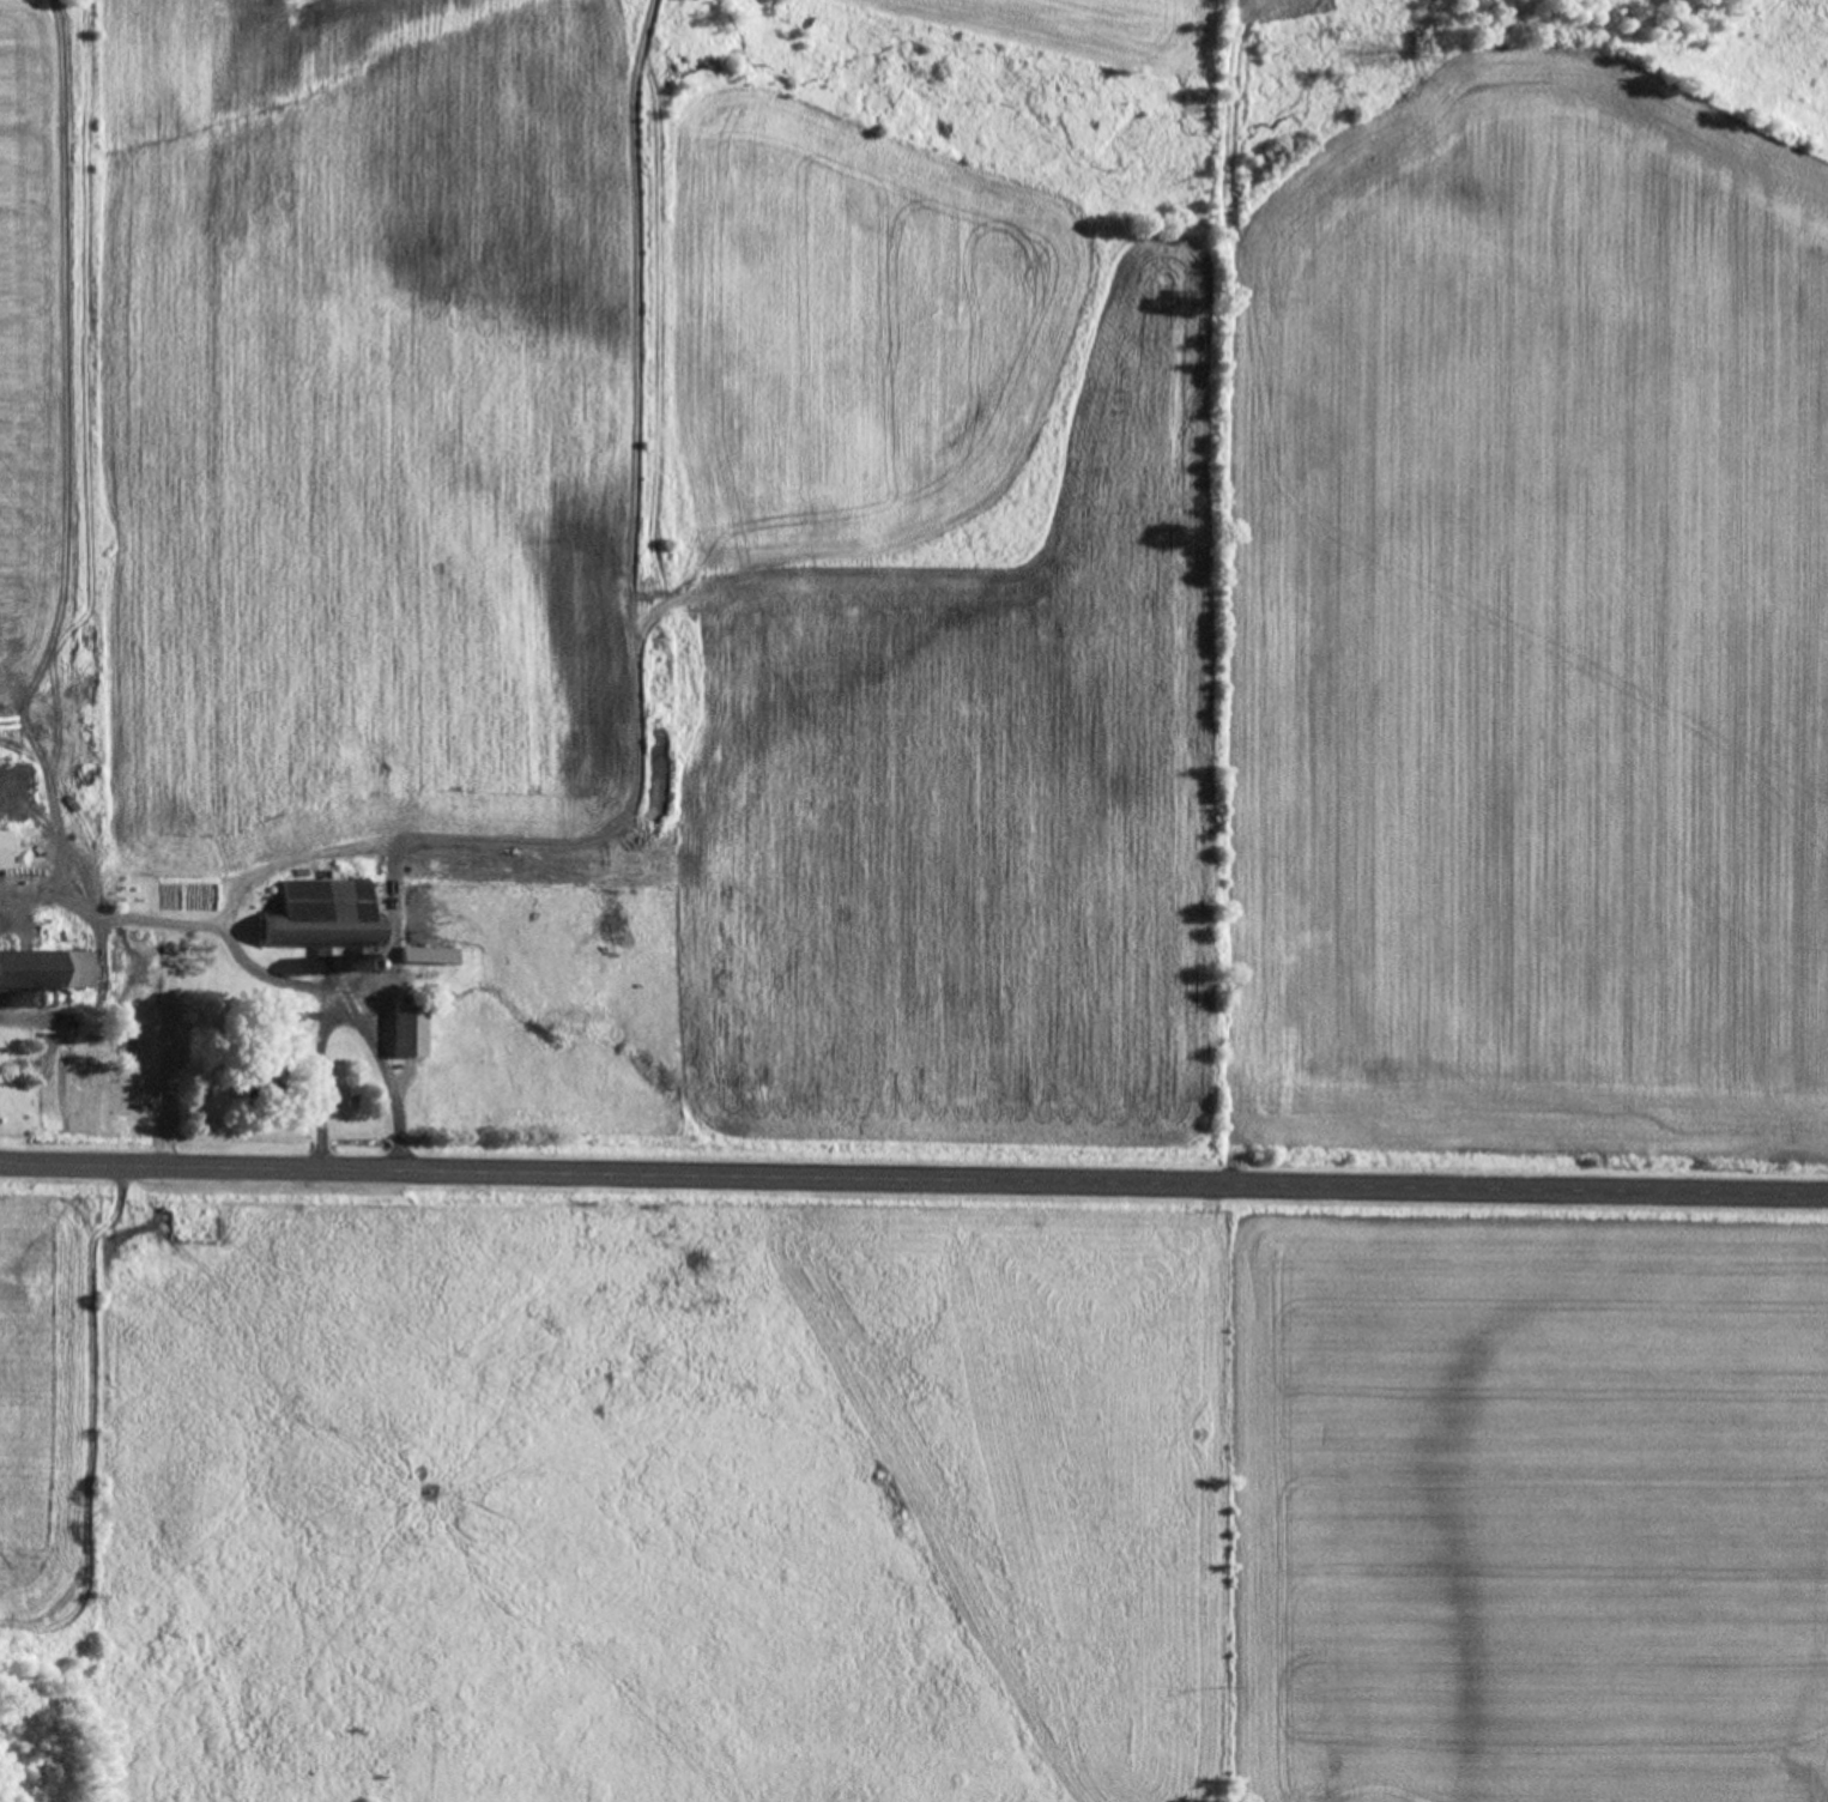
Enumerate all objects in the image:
building: (2, 851)
building: (316, 933)
road: (254, 969)
building: (46, 970)
building: (406, 1033)
road: (165, 1044)
road: (314, 1078)
road: (914, 1178)

